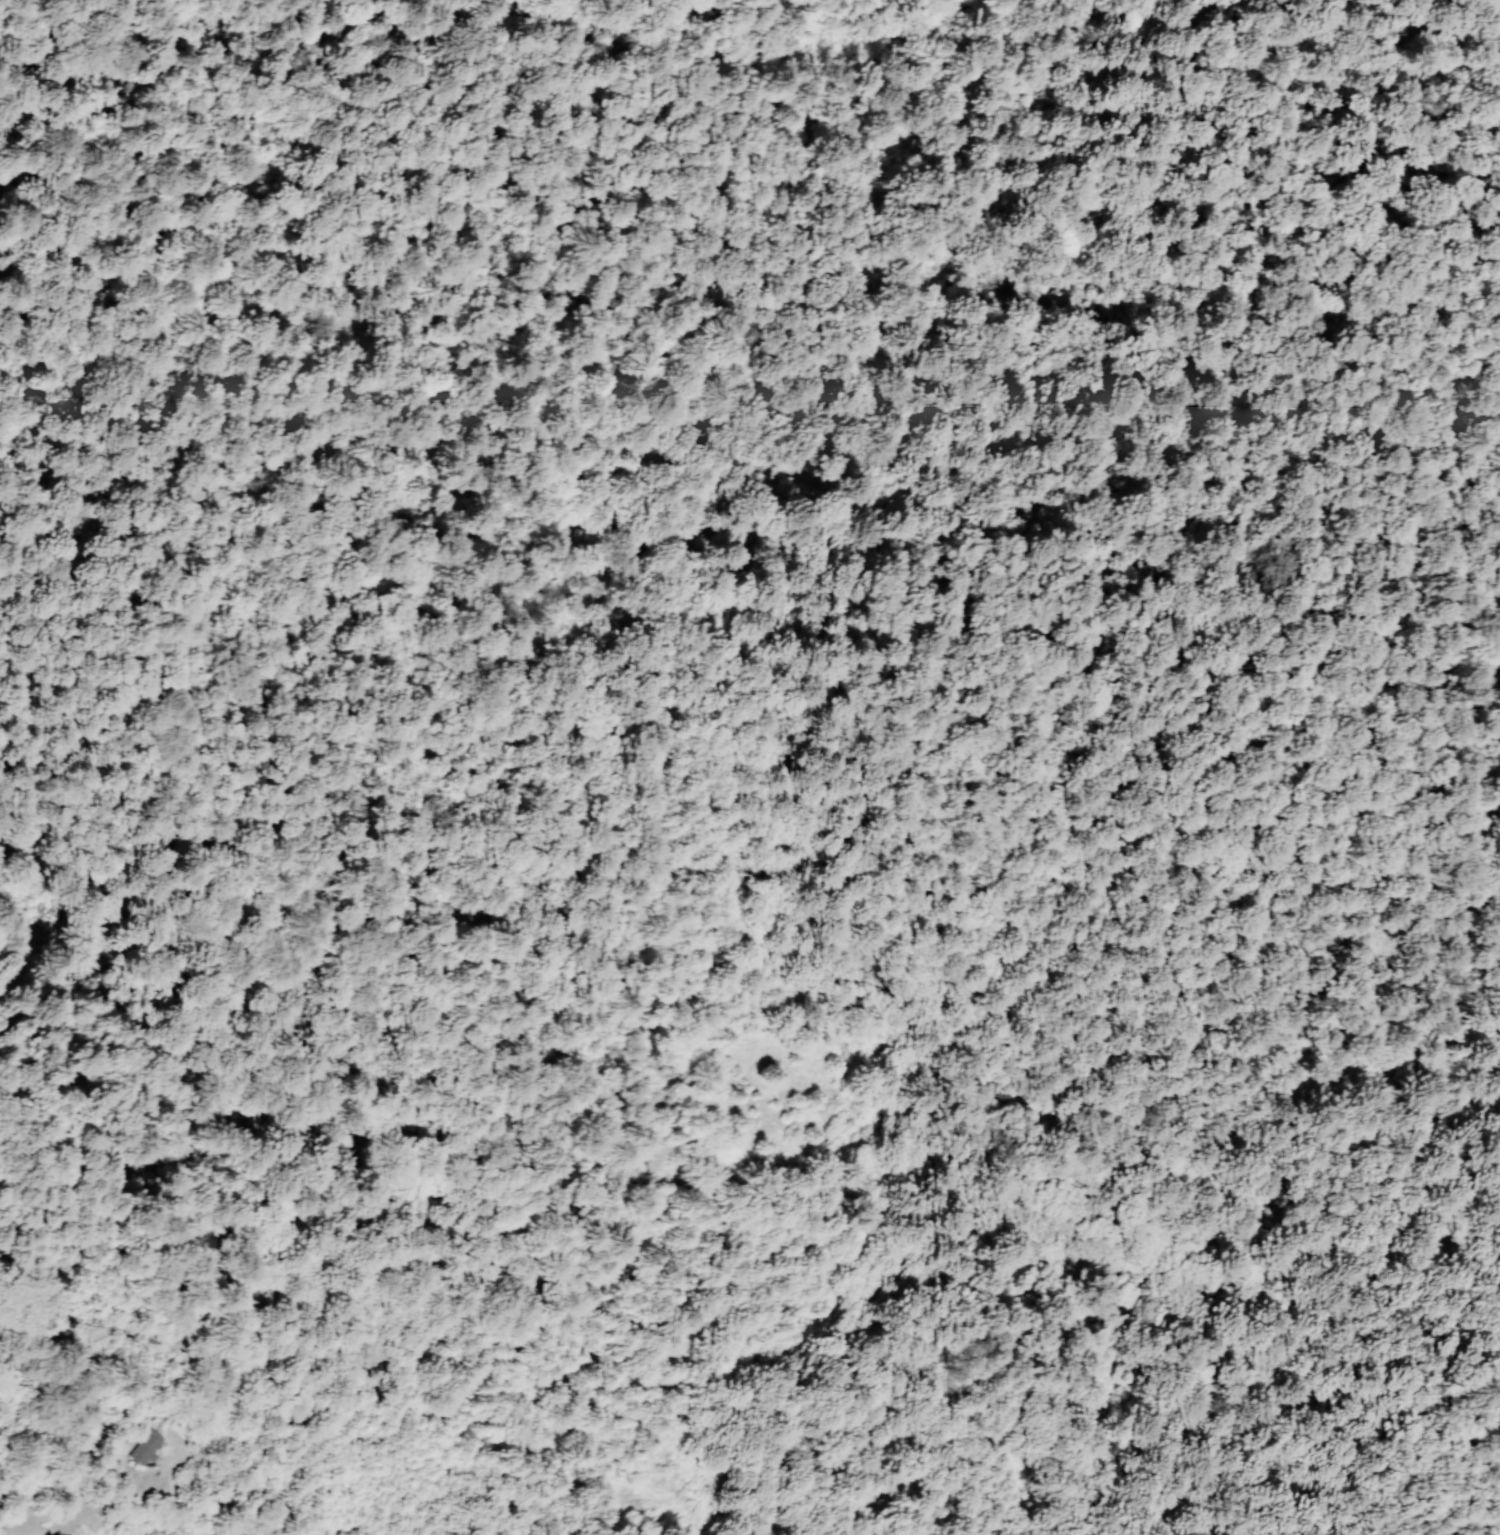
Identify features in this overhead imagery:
road: (397, 15)
road: (22, 45)
road: (670, 82)
road: (305, 214)
road: (1073, 528)
road: (602, 717)
road: (1224, 1312)
building: (144, 1449)
building: (154, 1468)
road: (101, 1528)
road: (1492, 1529)

